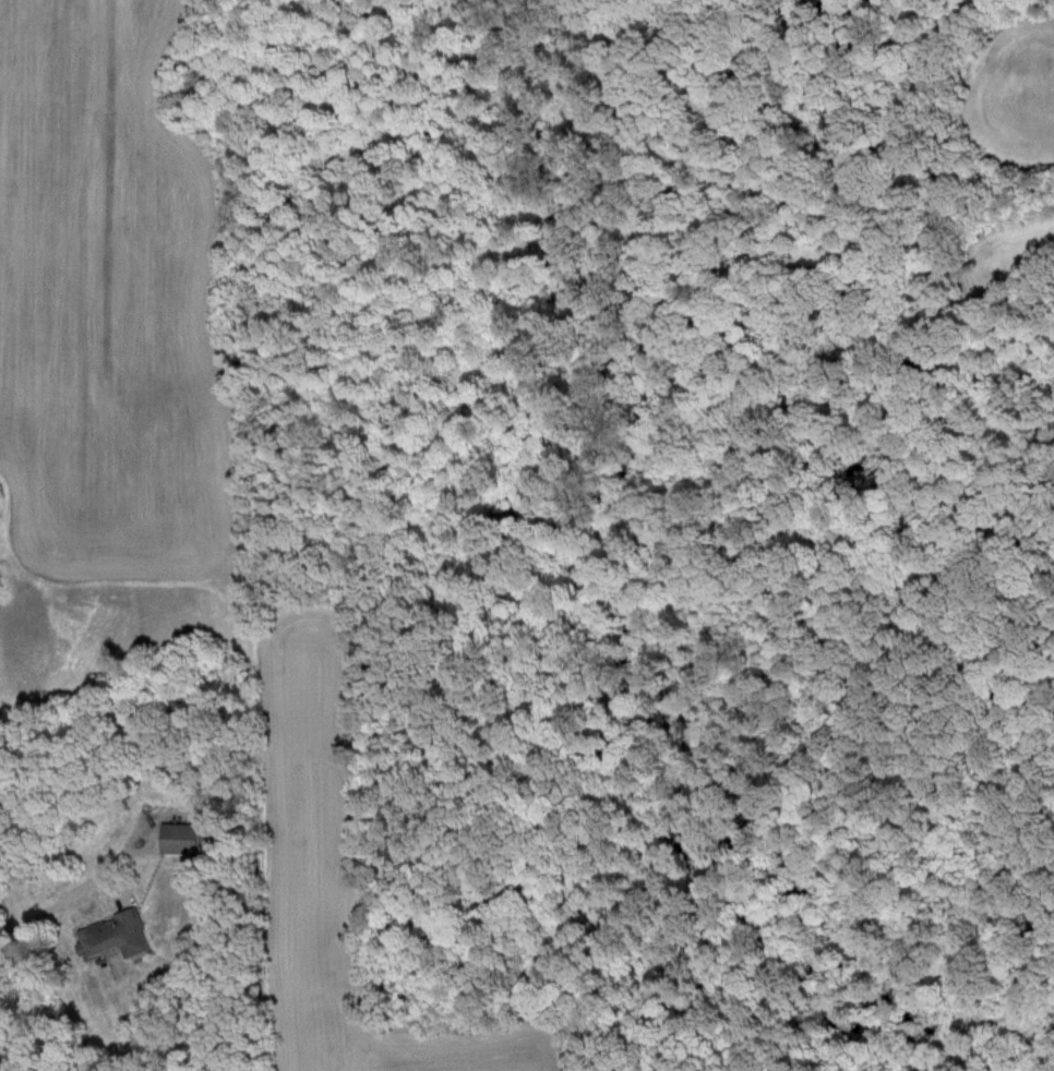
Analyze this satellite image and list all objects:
building: (185, 837)
road: (48, 908)
building: (112, 934)

